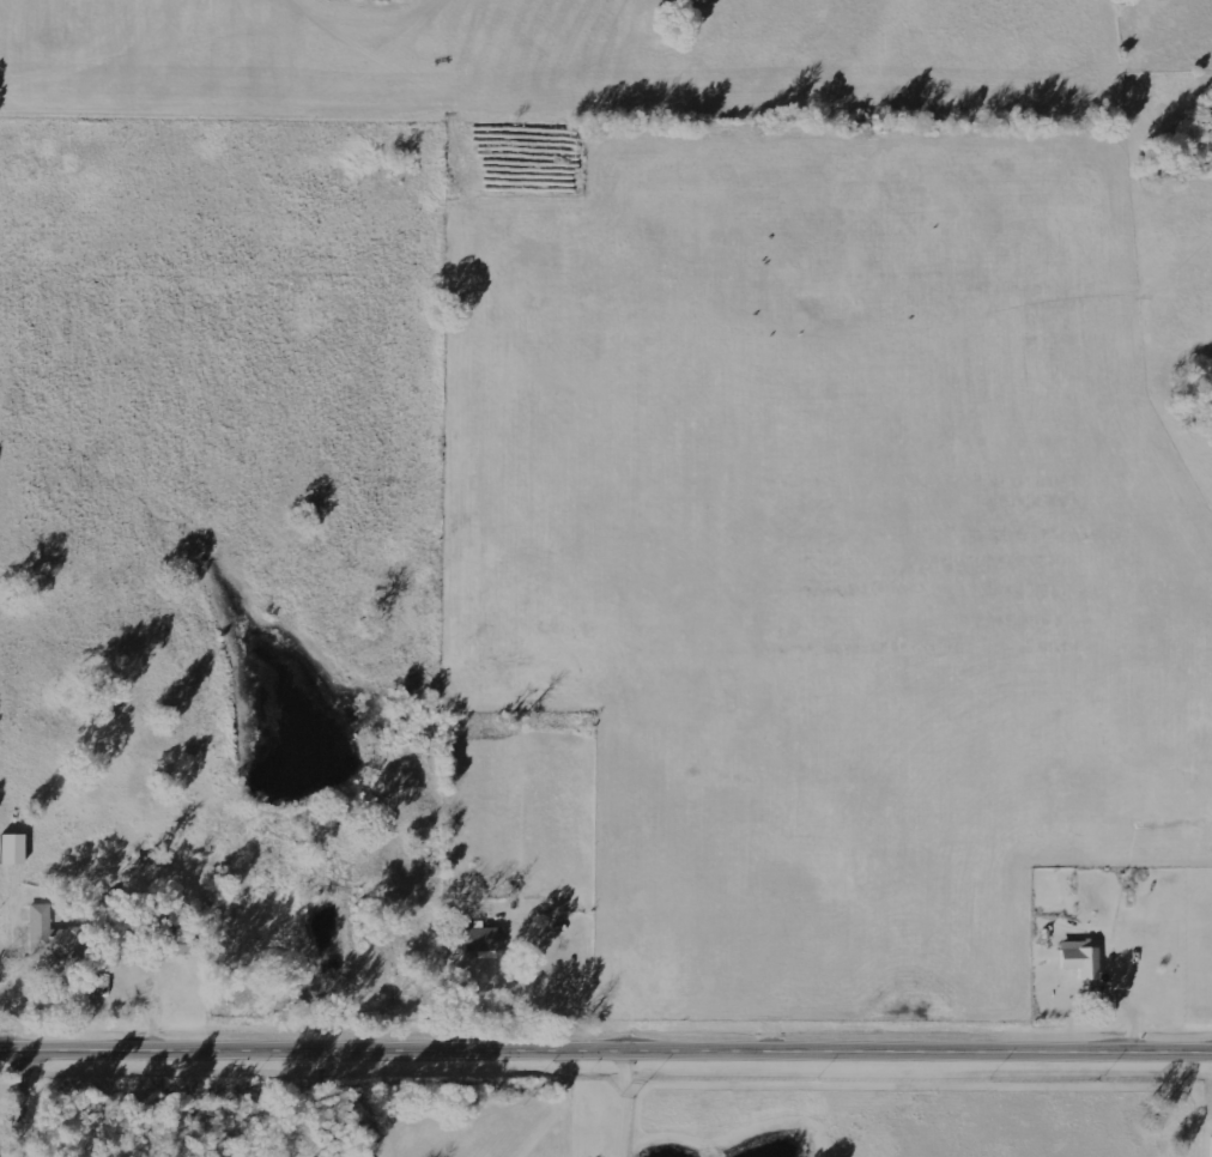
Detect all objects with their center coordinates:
building: (54, 935)
building: (486, 940)
building: (1081, 957)
road: (606, 1050)
road: (32, 1104)

